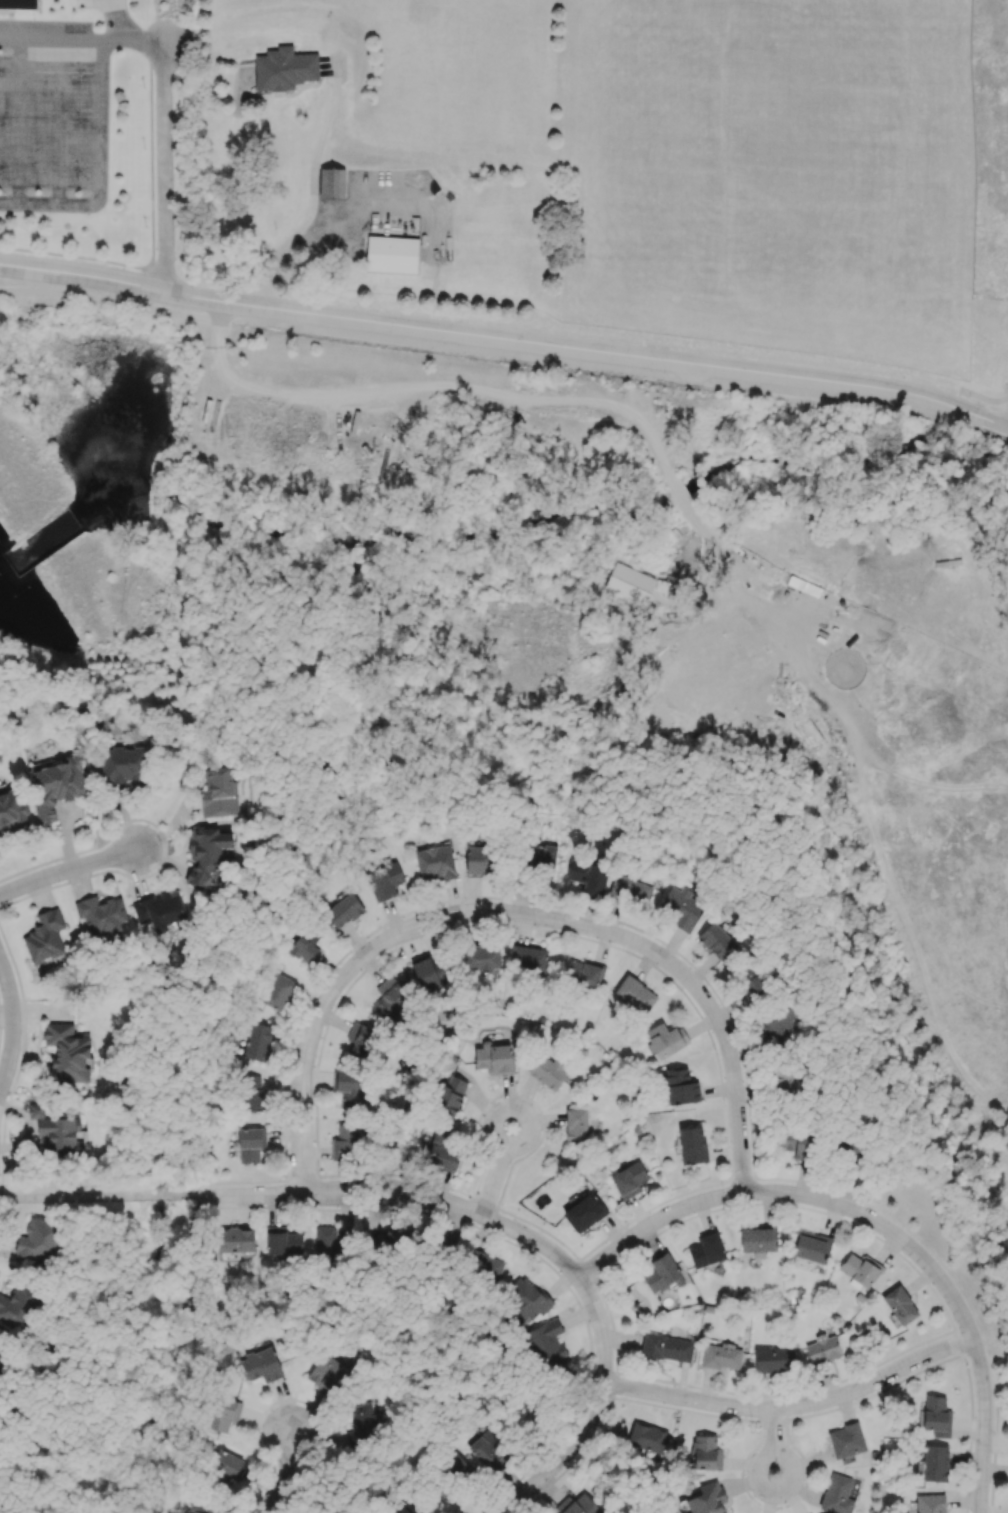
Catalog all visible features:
building: (19, 3)
road: (122, 21)
road: (50, 39)
road: (131, 41)
building: (283, 70)
parking lot: (49, 116)
road: (17, 120)
road: (57, 121)
road: (162, 168)
road: (99, 169)
building: (338, 182)
road: (312, 193)
building: (392, 254)
road: (217, 308)
road: (505, 339)
road: (478, 354)
road: (689, 376)
road: (430, 382)
road: (983, 395)
road: (957, 406)
road: (680, 491)
road: (714, 545)
building: (637, 583)
building: (124, 764)
building: (57, 785)
building: (218, 792)
building: (12, 808)
road: (167, 844)
building: (206, 854)
building: (538, 857)
building: (480, 860)
building: (435, 862)
road: (68, 876)
building: (588, 876)
building: (384, 880)
building: (630, 890)
building: (680, 907)
building: (344, 910)
building: (159, 911)
building: (101, 914)
building: (45, 937)
building: (716, 940)
building: (306, 944)
building: (481, 956)
building: (529, 957)
building: (432, 972)
building: (585, 972)
building: (750, 980)
road: (342, 983)
building: (278, 991)
building: (635, 994)
building: (390, 998)
road: (709, 1009)
road: (11, 1023)
building: (780, 1026)
building: (361, 1039)
building: (666, 1039)
building: (258, 1041)
building: (67, 1052)
building: (495, 1058)
building: (547, 1070)
building: (782, 1080)
building: (680, 1086)
building: (349, 1087)
building: (252, 1092)
building: (450, 1096)
building: (576, 1125)
building: (57, 1130)
building: (345, 1141)
building: (251, 1143)
building: (796, 1143)
building: (692, 1145)
building: (443, 1150)
road: (500, 1163)
building: (628, 1179)
road: (97, 1195)
building: (584, 1212)
road: (878, 1226)
road: (529, 1236)
building: (394, 1238)
building: (326, 1239)
building: (37, 1240)
building: (236, 1240)
building: (758, 1240)
building: (282, 1243)
building: (812, 1246)
building: (707, 1250)
building: (483, 1263)
building: (860, 1270)
building: (661, 1272)
building: (527, 1300)
building: (17, 1305)
building: (900, 1305)
building: (546, 1343)
building: (666, 1347)
building: (823, 1348)
building: (2, 1353)
building: (722, 1356)
building: (774, 1359)
building: (261, 1364)
building: (320, 1378)
road: (794, 1412)
building: (223, 1414)
building: (936, 1416)
building: (364, 1418)
building: (647, 1437)
building: (846, 1440)
building: (489, 1451)
road: (776, 1451)
building: (706, 1453)
building: (457, 1462)
building: (933, 1463)
building: (227, 1466)
road: (287, 1471)
building: (835, 1493)
building: (707, 1499)
building: (930, 1503)
building: (581, 1505)
building: (407, 1509)
building: (197, 1511)

